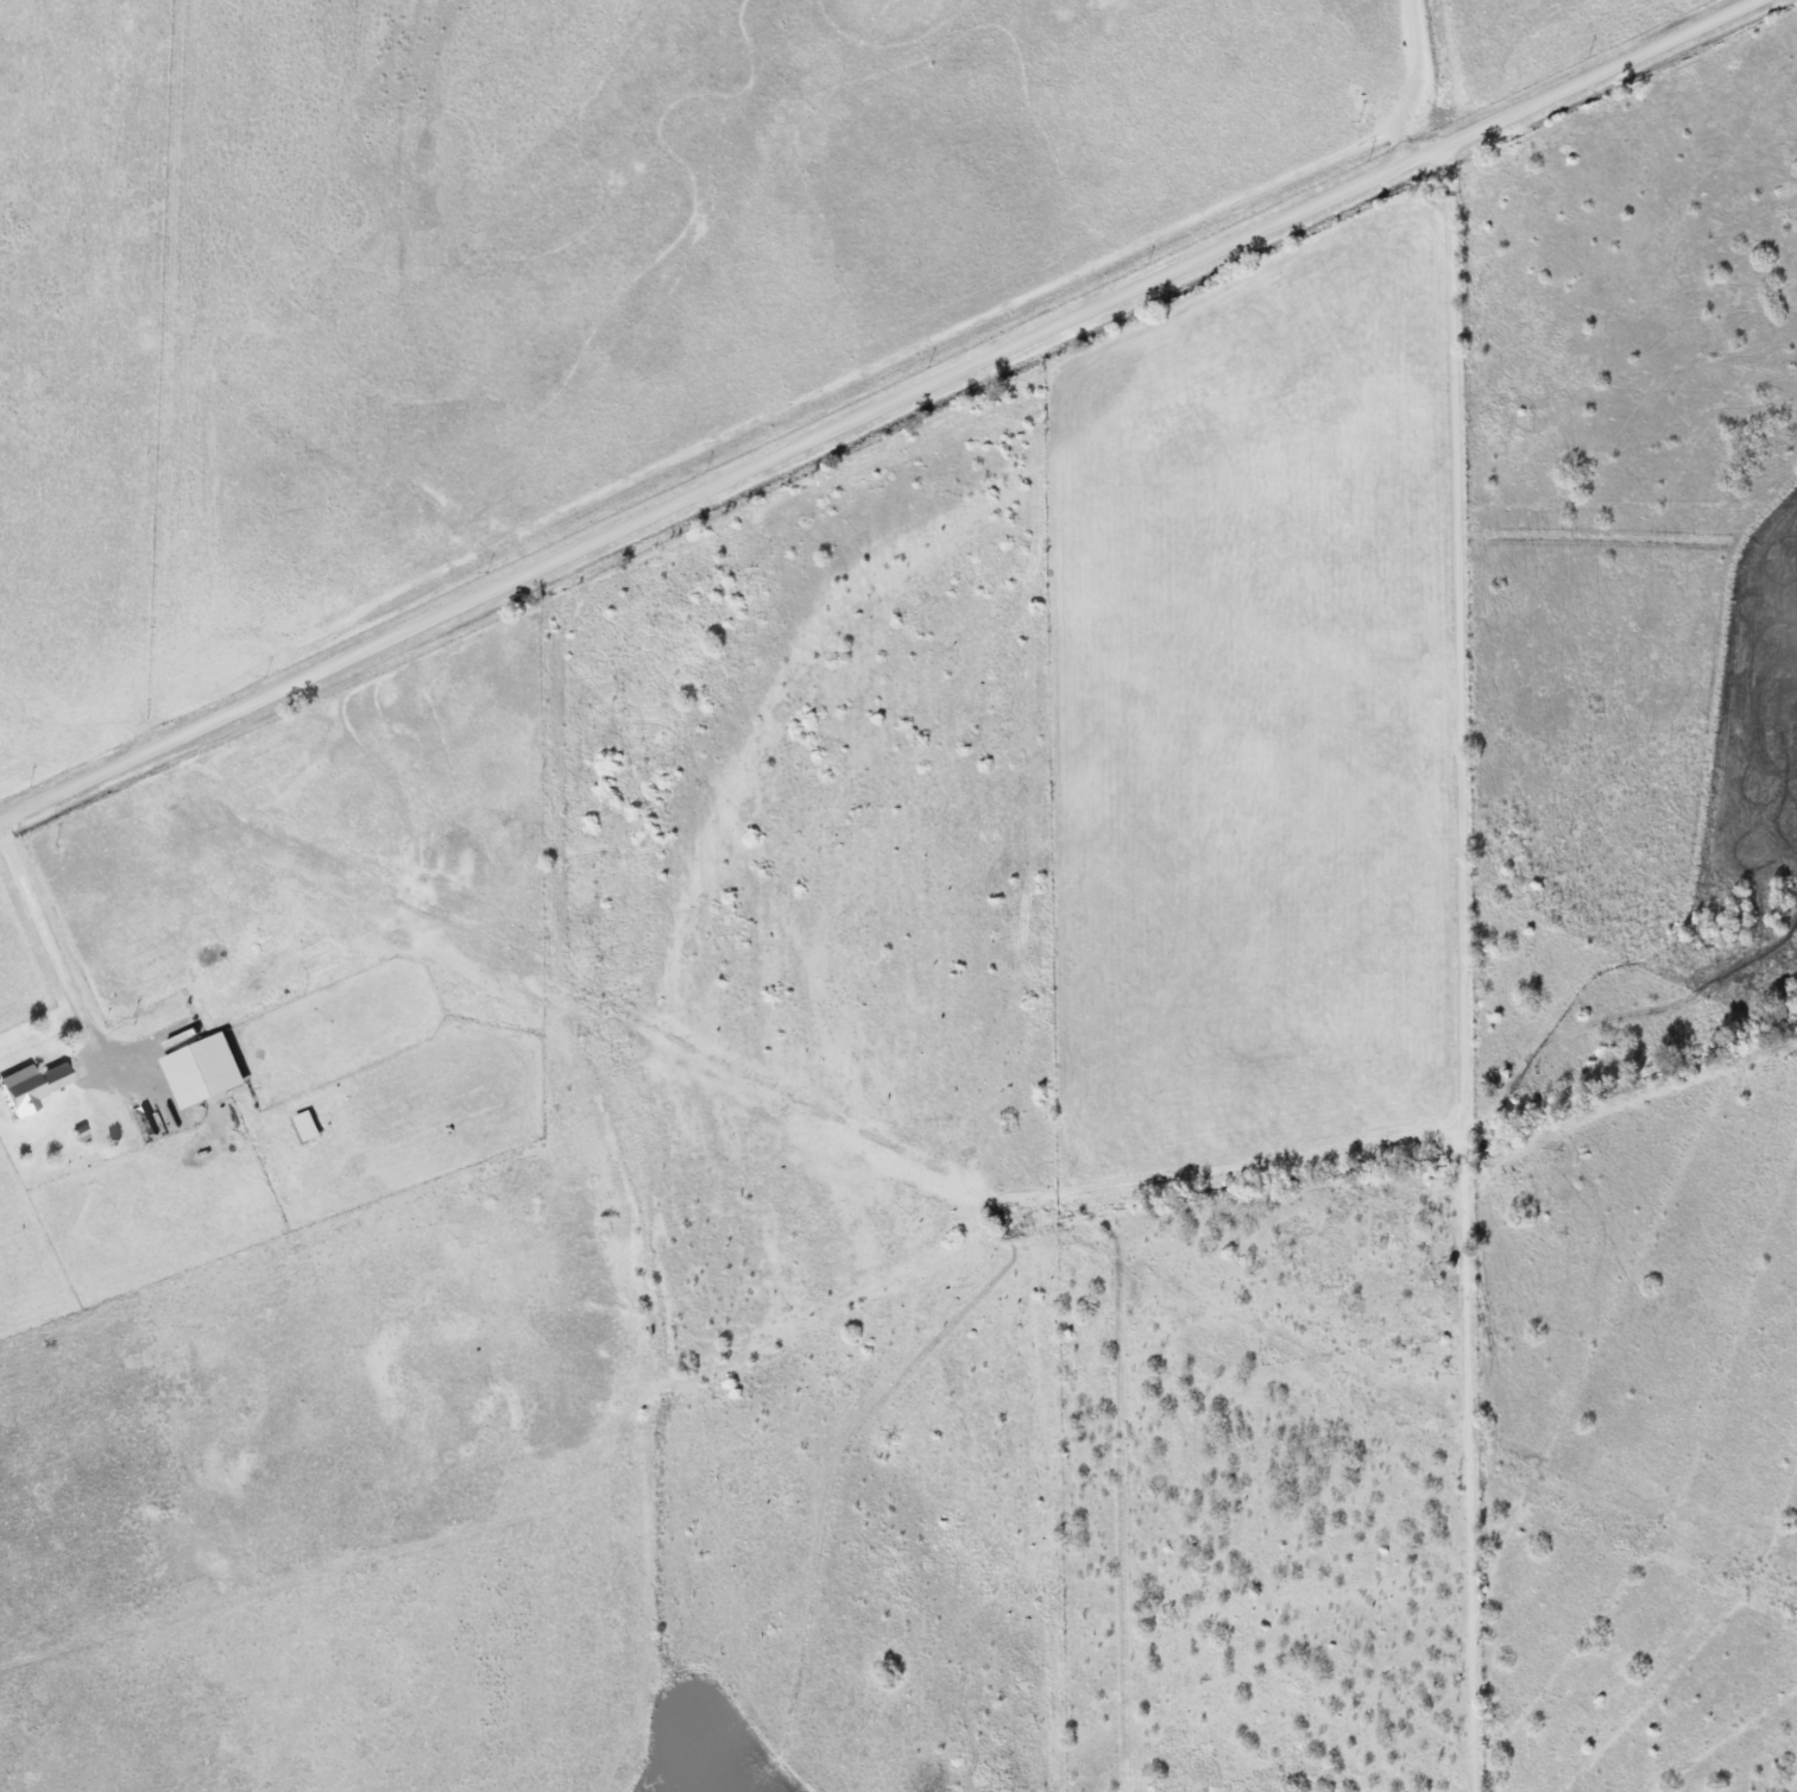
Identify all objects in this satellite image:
road: (869, 408)
road: (46, 953)
road: (1455, 964)

